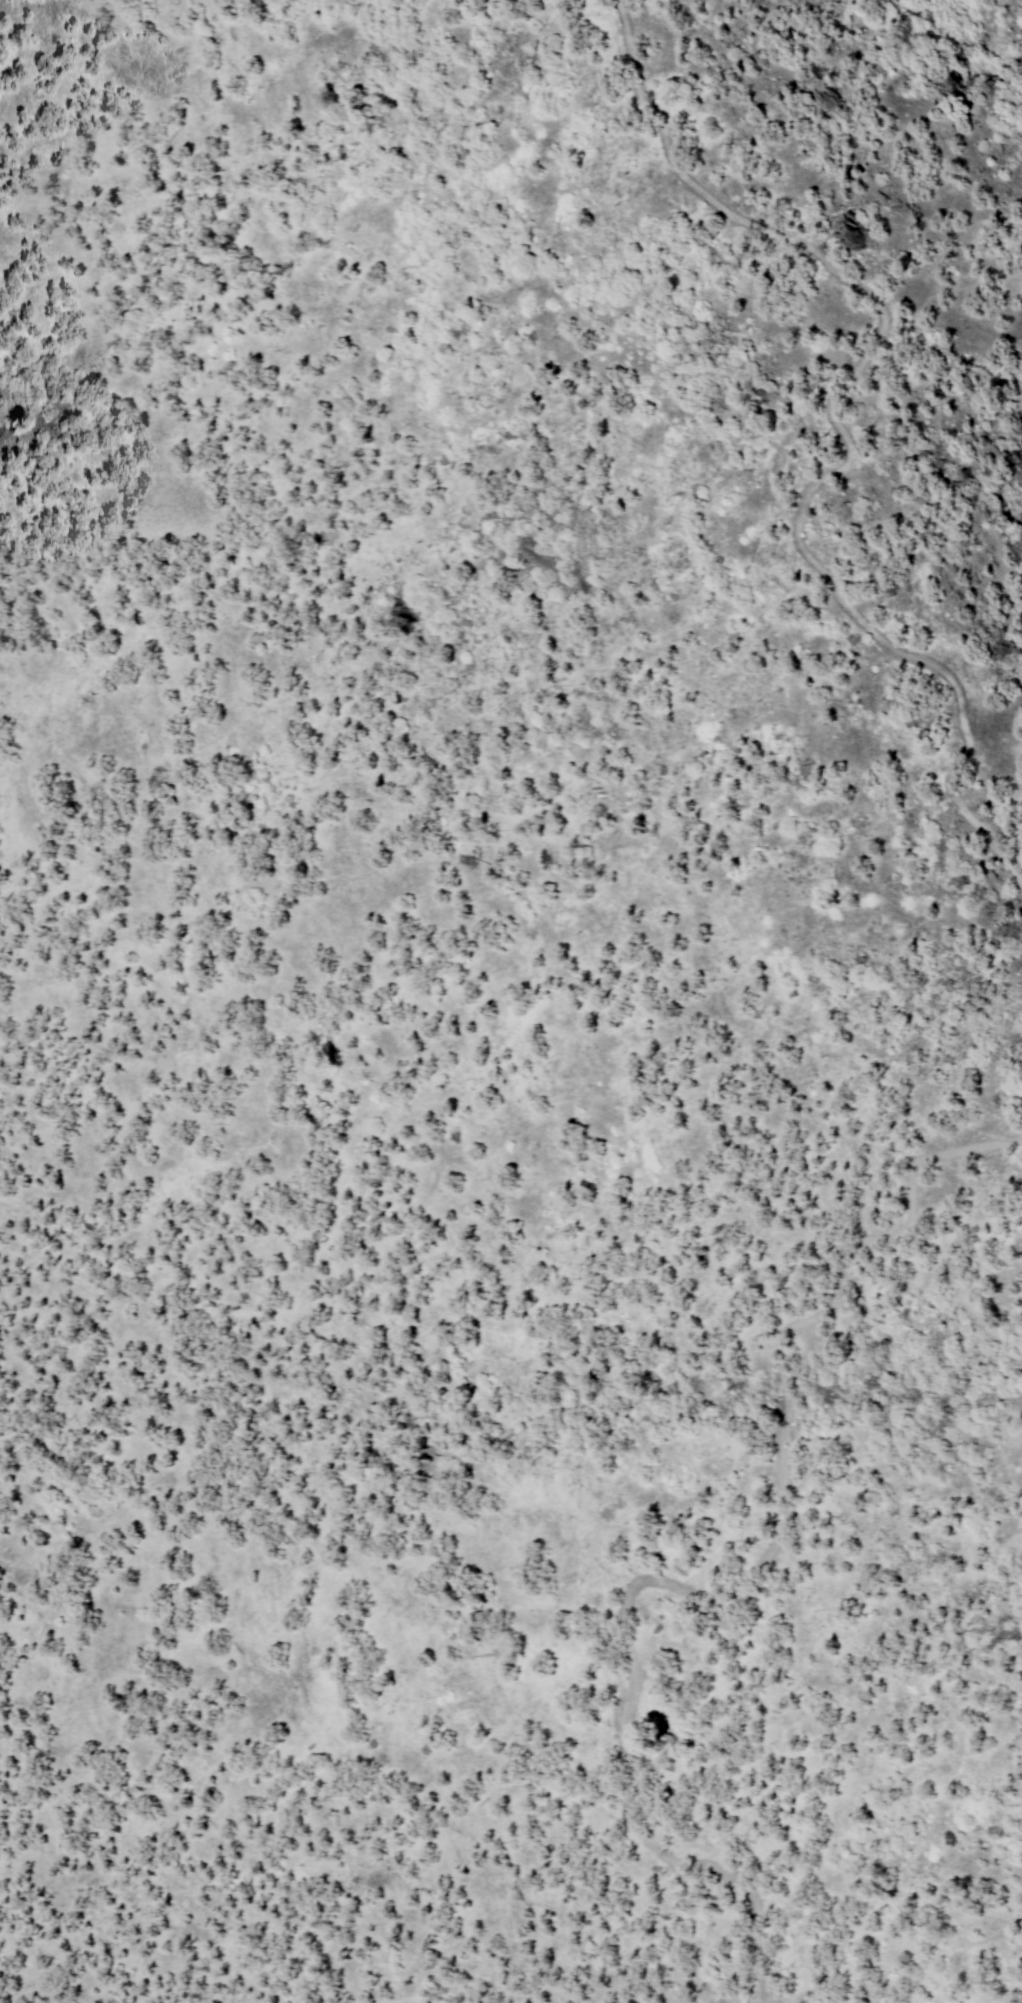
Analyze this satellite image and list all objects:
building: (991, 85)

